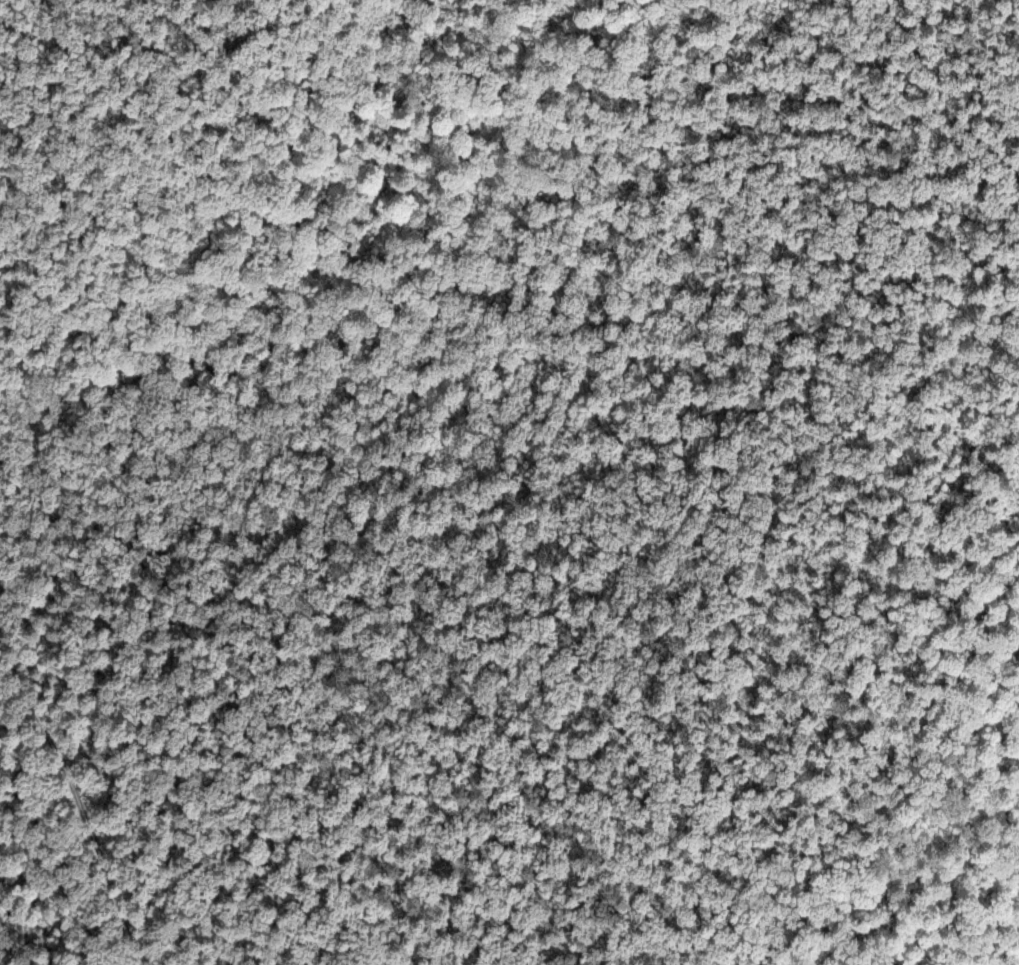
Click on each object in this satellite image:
road: (78, 806)

